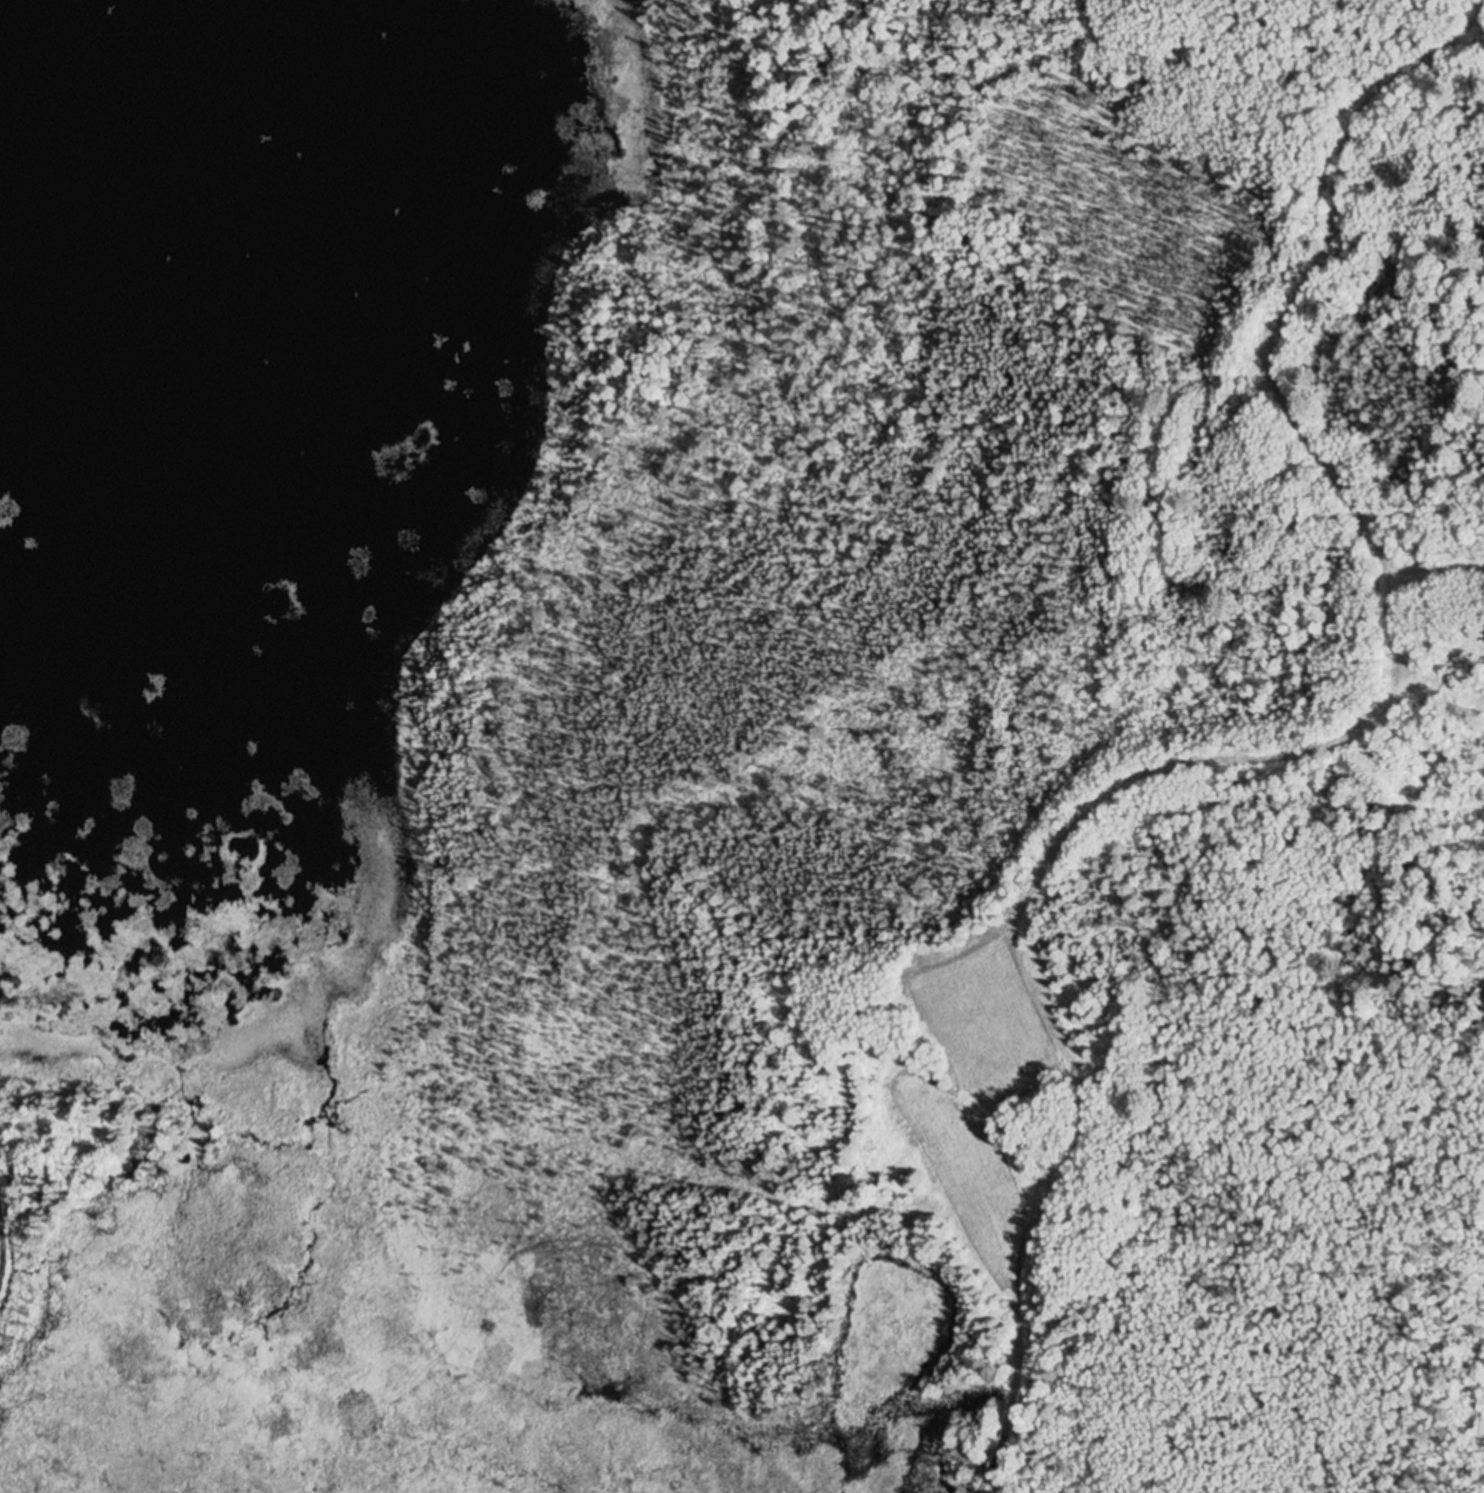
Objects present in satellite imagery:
road: (4, 1194)

